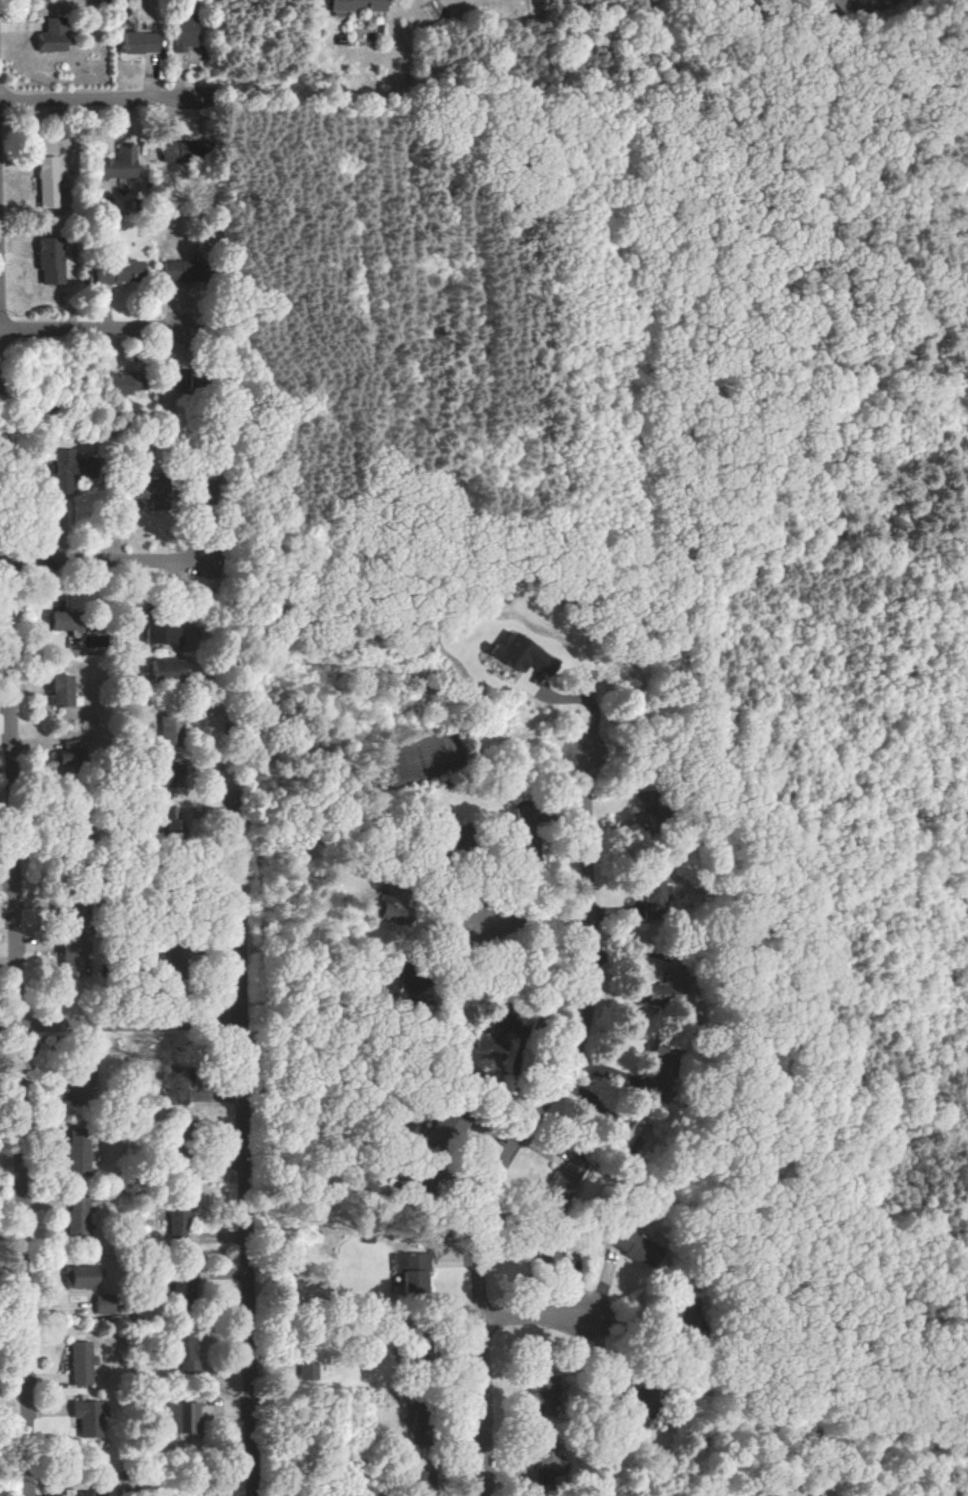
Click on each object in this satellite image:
building: (358, 6)
building: (54, 35)
building: (183, 35)
building: (143, 42)
road: (93, 99)
building: (173, 151)
building: (121, 163)
building: (53, 260)
building: (177, 270)
building: (121, 272)
road: (3, 309)
road: (98, 329)
building: (123, 383)
building: (64, 470)
building: (150, 490)
road: (110, 563)
road: (5, 564)
building: (66, 620)
building: (158, 633)
building: (523, 654)
building: (166, 670)
building: (66, 692)
road: (588, 710)
building: (171, 729)
building: (71, 753)
park: (421, 758)
building: (178, 821)
building: (448, 842)
building: (653, 895)
building: (400, 902)
road: (520, 921)
building: (77, 957)
building: (668, 989)
building: (422, 993)
road: (120, 1024)
road: (23, 1029)
building: (496, 1031)
building: (662, 1071)
road: (242, 1078)
building: (173, 1087)
building: (443, 1131)
building: (625, 1131)
road: (525, 1135)
building: (186, 1148)
building: (77, 1151)
building: (569, 1182)
building: (77, 1215)
building: (178, 1224)
building: (641, 1245)
building: (413, 1271)
building: (82, 1276)
building: (111, 1304)
road: (550, 1320)
building: (187, 1353)
building: (83, 1363)
building: (307, 1370)
building: (184, 1417)
building: (89, 1418)
building: (425, 1422)
building: (93, 1494)

